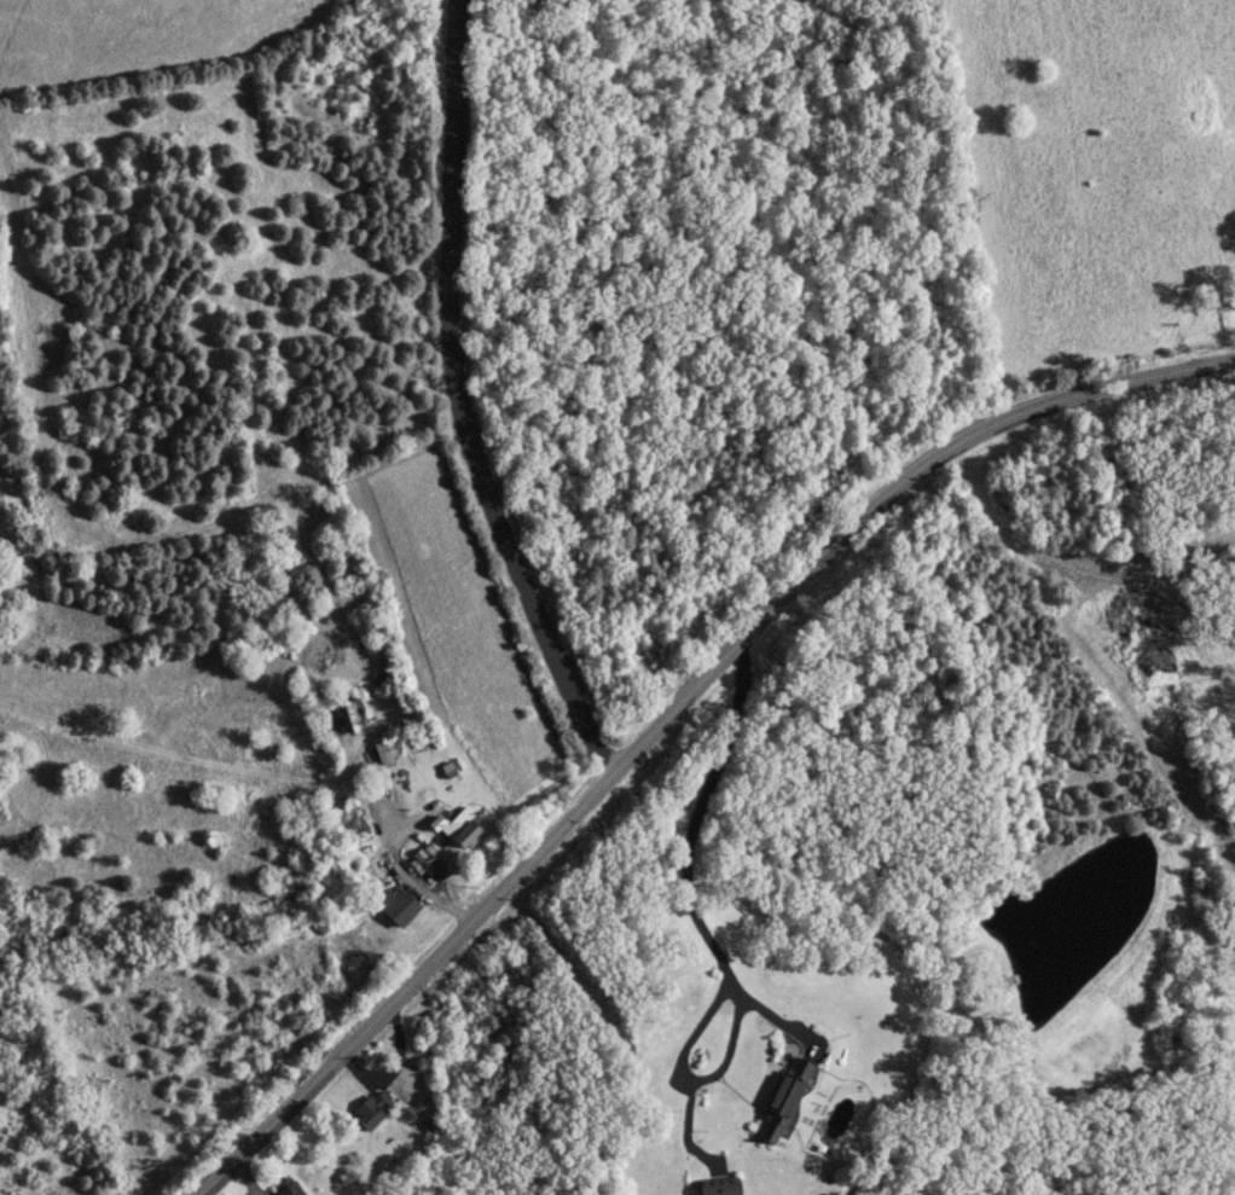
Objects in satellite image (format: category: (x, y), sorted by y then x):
road: (458, 400)
road: (668, 702)
building: (336, 717)
building: (385, 750)
building: (347, 826)
building: (459, 826)
building: (399, 904)
road: (703, 932)
building: (785, 1096)
building: (373, 1106)
building: (289, 1185)
building: (720, 1187)

